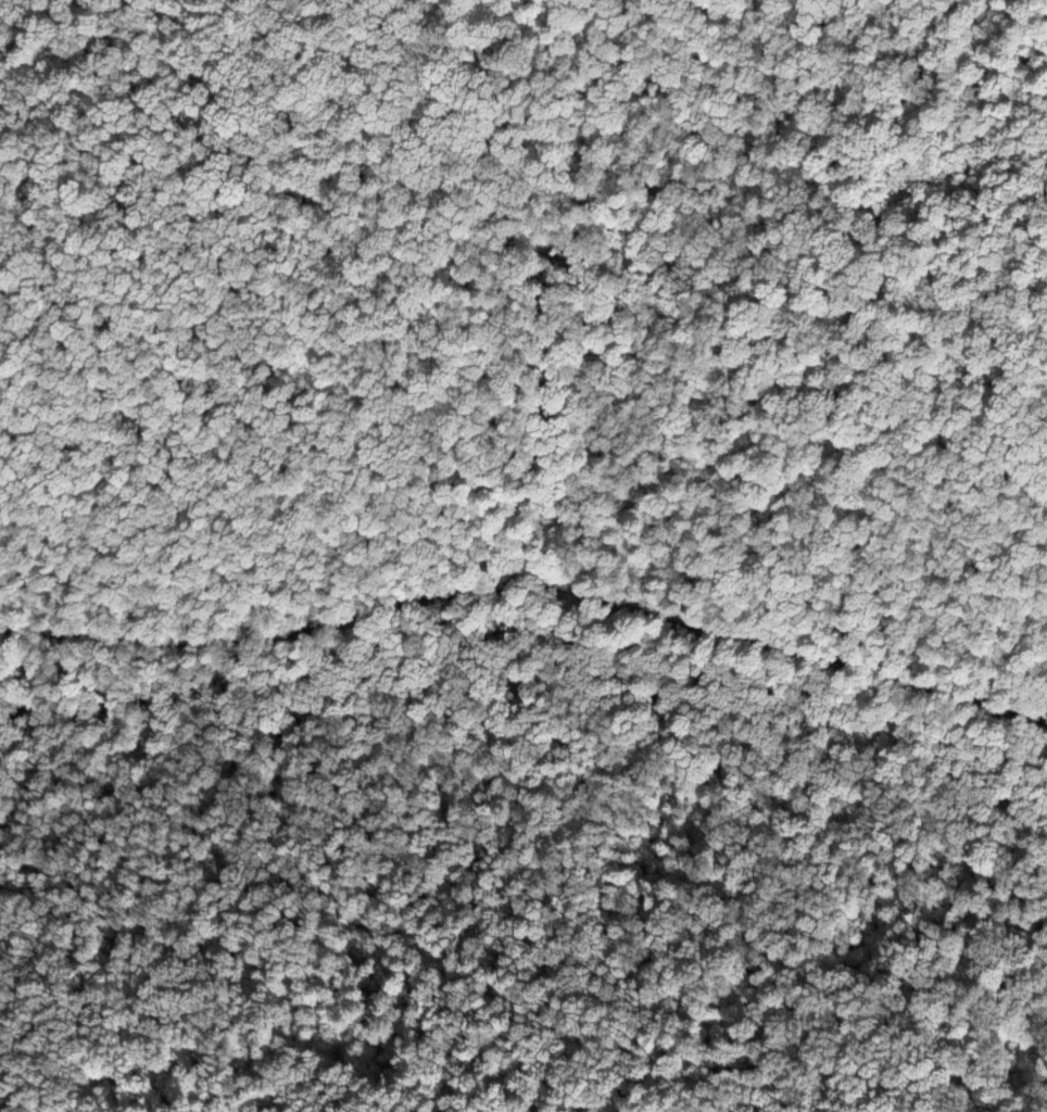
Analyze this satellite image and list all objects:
road: (529, 581)

